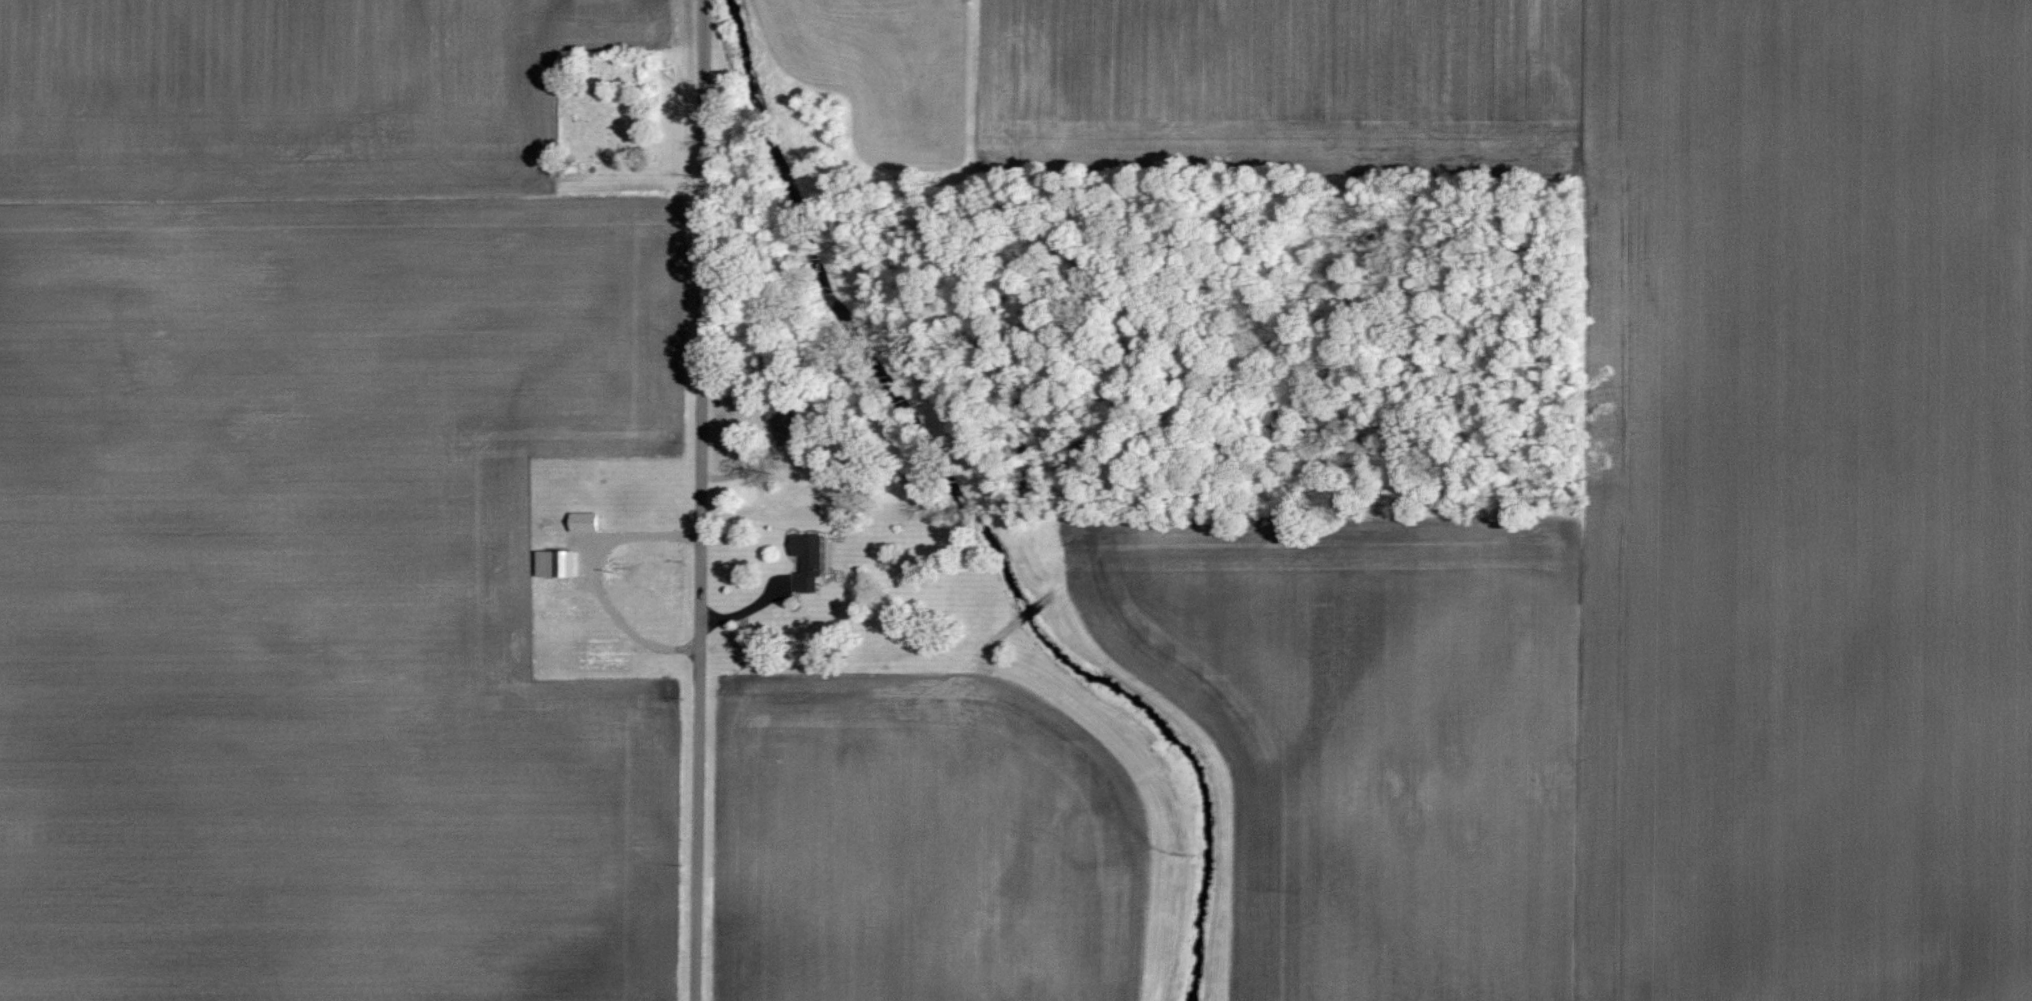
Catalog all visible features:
road: (703, 500)
building: (583, 521)
building: (806, 560)
building: (553, 563)

